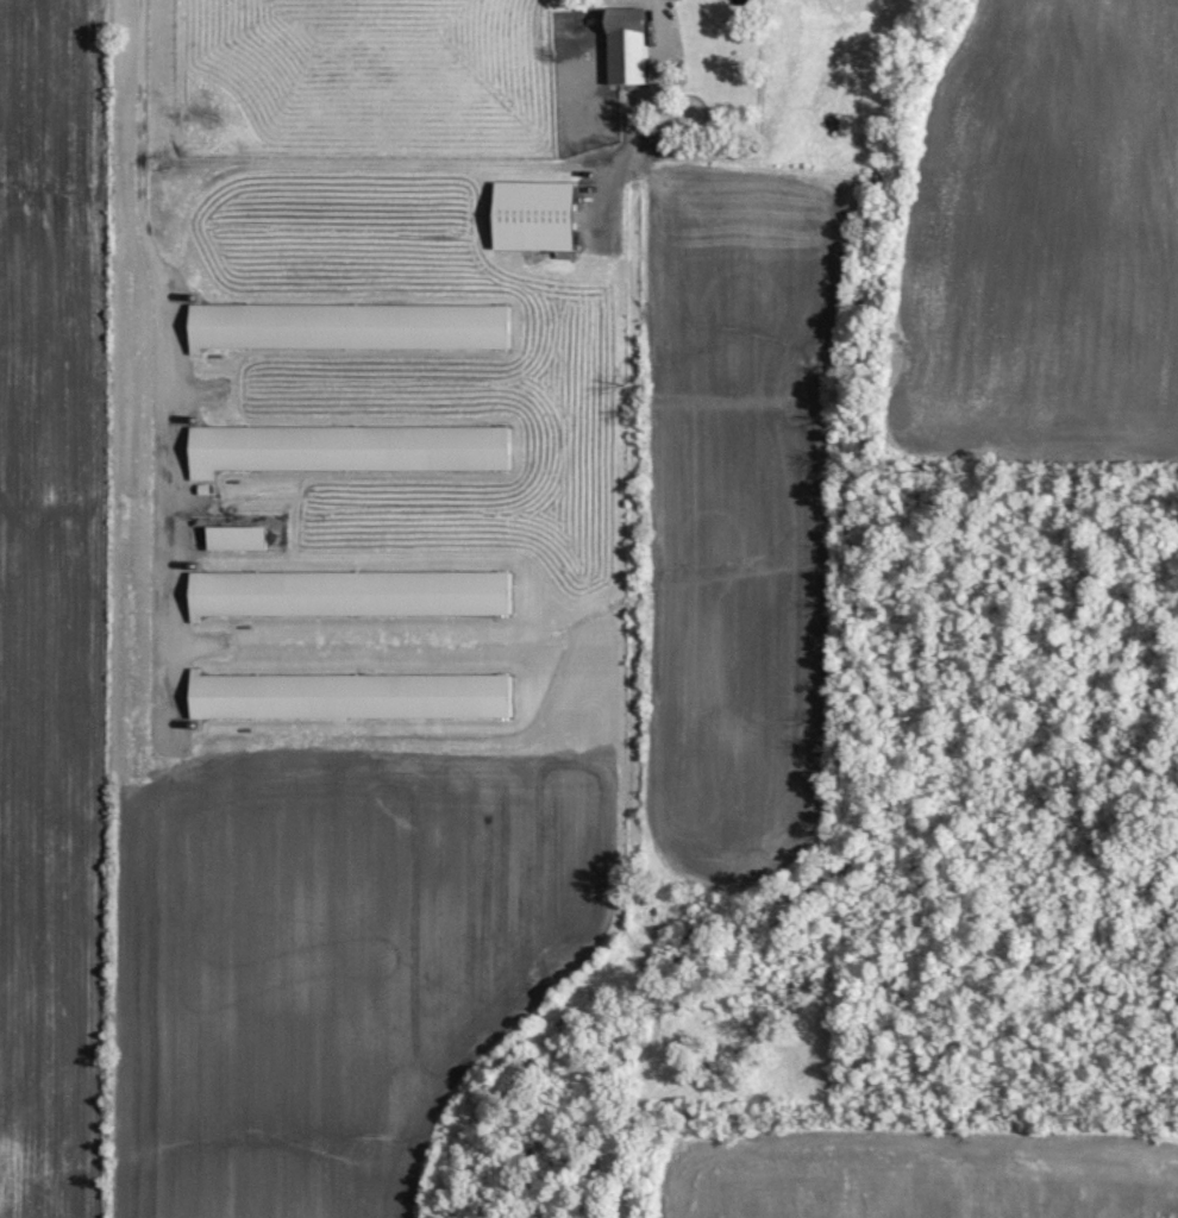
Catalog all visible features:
building: (624, 42)
road: (643, 109)
building: (531, 212)
building: (345, 324)
road: (170, 347)
building: (344, 445)
building: (233, 535)
building: (346, 591)
building: (346, 693)

